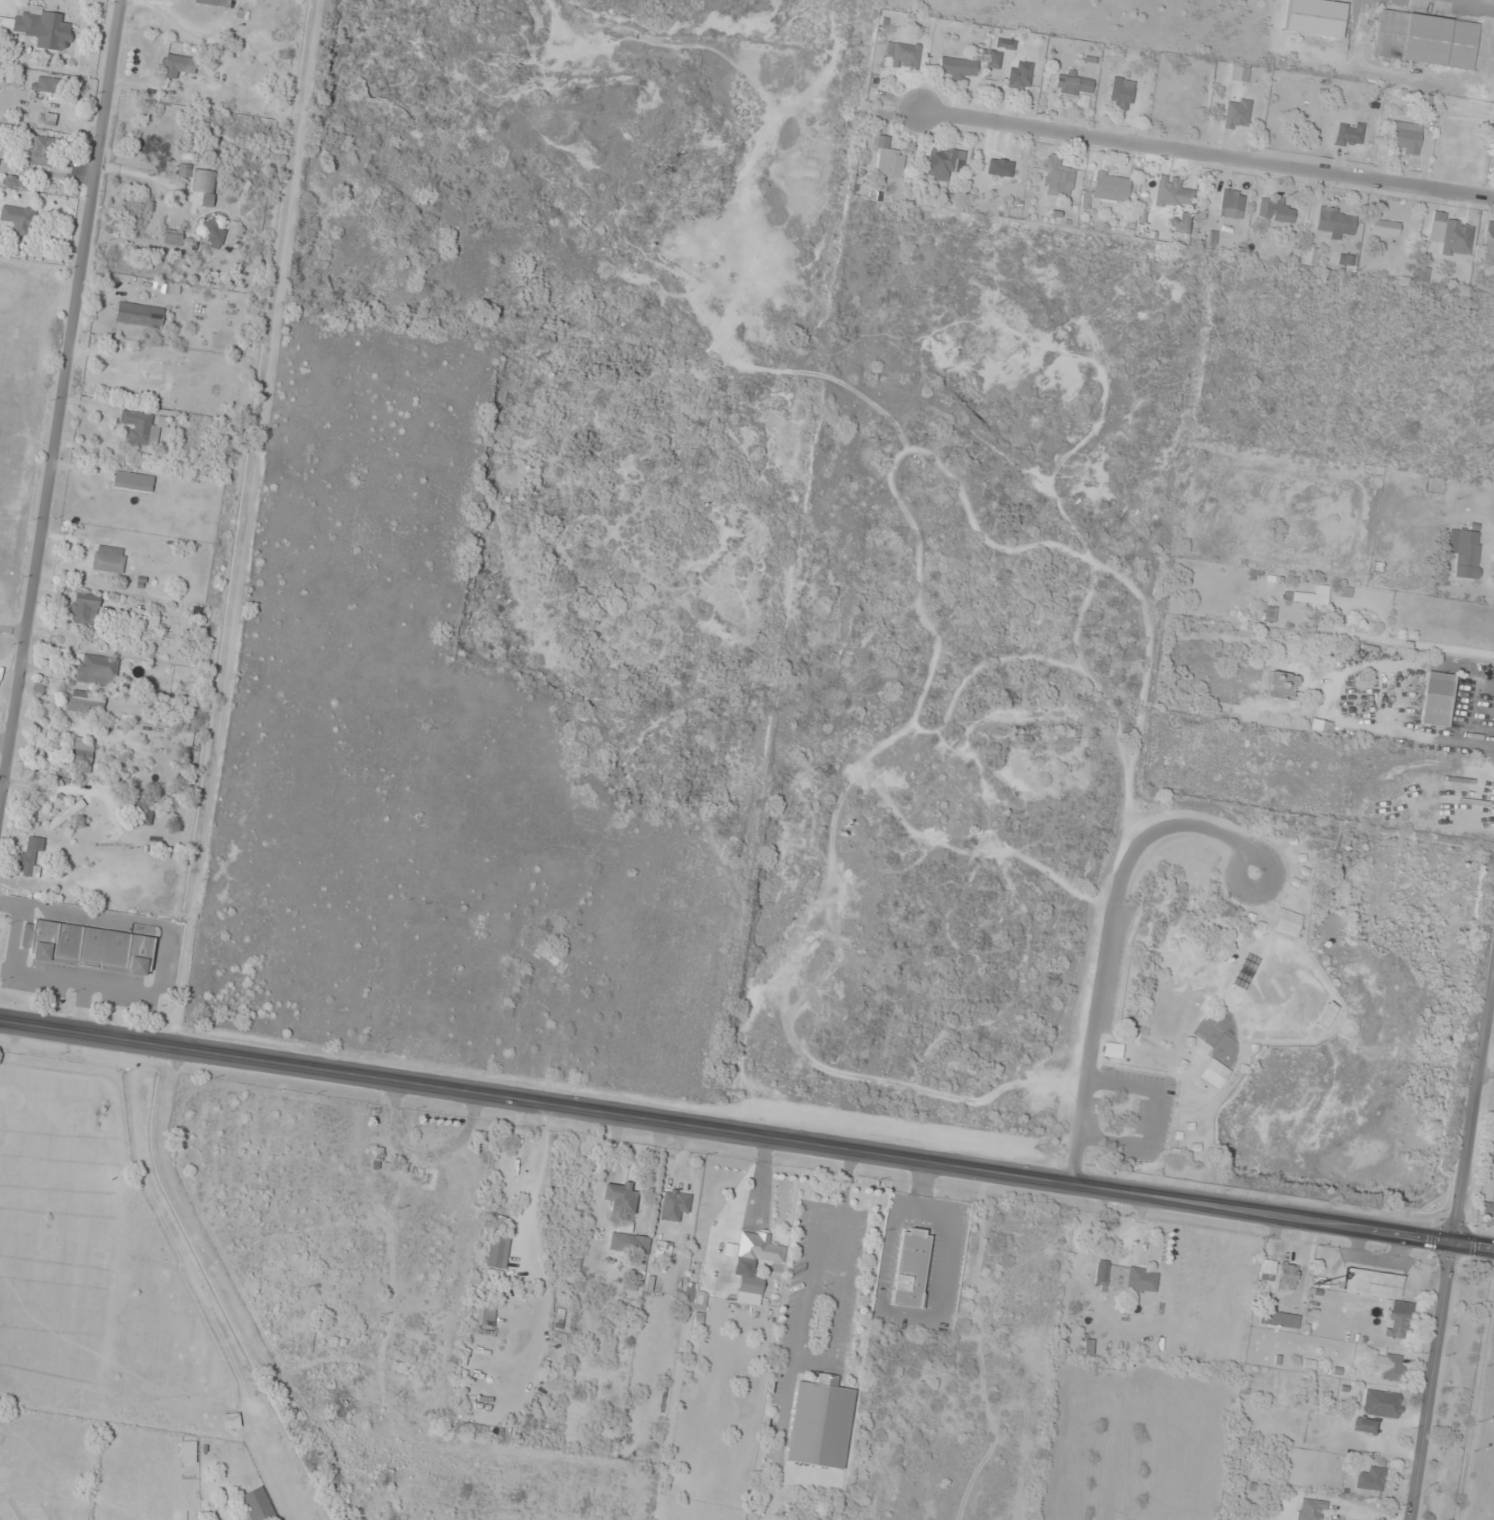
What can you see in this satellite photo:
building: (212, 2)
building: (1315, 17)
building: (44, 29)
building: (1425, 40)
building: (1005, 44)
building: (906, 55)
building: (993, 59)
building: (176, 65)
building: (958, 67)
building: (1019, 75)
building: (46, 84)
building: (1074, 84)
building: (1121, 93)
building: (1237, 114)
building: (48, 120)
building: (1349, 134)
building: (1406, 137)
building: (39, 150)
road: (1192, 157)
building: (890, 164)
building: (942, 164)
building: (994, 167)
building: (184, 170)
building: (1060, 180)
building: (204, 186)
building: (1107, 189)
building: (1172, 192)
building: (1232, 204)
building: (1275, 210)
building: (16, 218)
building: (1385, 227)
building: (214, 231)
building: (1451, 235)
building: (1489, 242)
building: (1311, 257)
building: (1347, 261)
building: (1422, 275)
building: (139, 315)
building: (178, 373)
road: (62, 406)
building: (142, 427)
building: (133, 482)
building: (1465, 553)
building: (108, 560)
building: (1308, 597)
building: (84, 609)
building: (1270, 615)
building: (97, 670)
building: (1281, 685)
building: (1437, 699)
building: (85, 700)
building: (81, 751)
building: (145, 810)
building: (65, 815)
building: (30, 855)
building: (1288, 923)
building: (88, 947)
building: (1326, 1015)
building: (1215, 1074)
road: (746, 1135)
building: (383, 1163)
building: (621, 1198)
building: (674, 1205)
building: (1489, 1207)
traffic signals: (1454, 1246)
building: (755, 1249)
building: (498, 1250)
road: (1451, 1262)
building: (911, 1267)
building: (1268, 1269)
building: (1287, 1277)
building: (1126, 1279)
building: (1372, 1283)
building: (750, 1284)
building: (486, 1315)
building: (1279, 1319)
building: (1398, 1325)
building: (1393, 1367)
building: (1383, 1404)
building: (820, 1423)
building: (1363, 1425)
building: (187, 1453)
building: (1371, 1479)
building: (257, 1504)
building: (1311, 1509)

